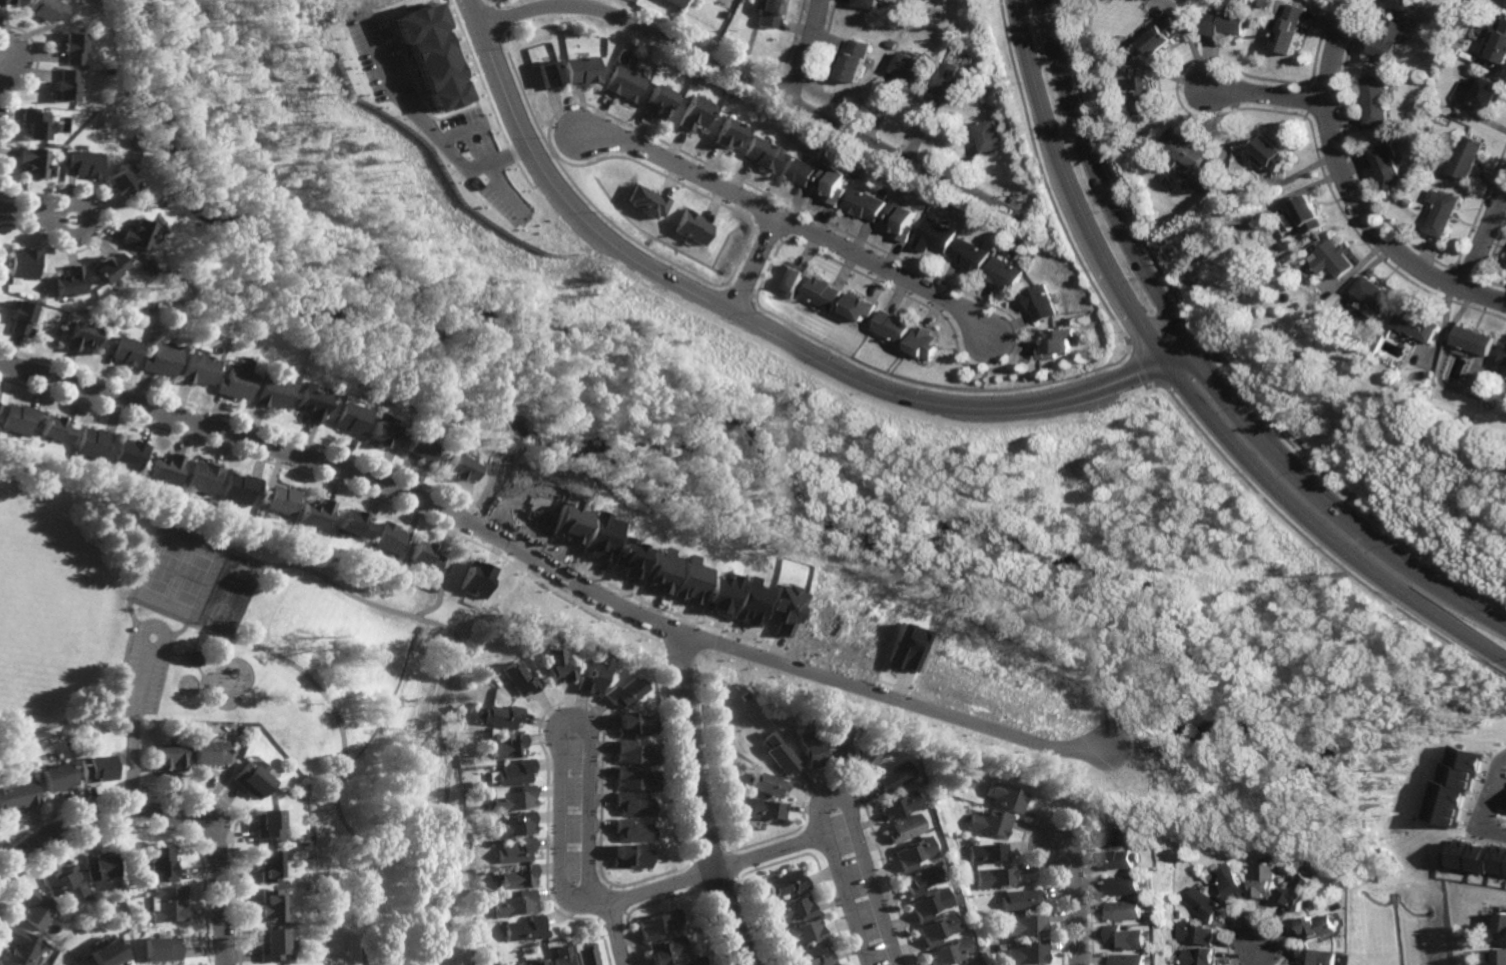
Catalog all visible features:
building: (16, 1)
building: (676, 2)
building: (867, 2)
building: (1505, 2)
building: (1398, 3)
building: (47, 9)
building: (723, 12)
building: (765, 12)
building: (911, 12)
building: (1225, 21)
road: (638, 27)
building: (1291, 27)
building: (88, 31)
building: (1161, 34)
building: (1386, 38)
building: (1499, 43)
building: (892, 44)
building: (70, 46)
building: (1455, 48)
road: (807, 51)
building: (430, 56)
building: (854, 59)
road: (3, 65)
building: (910, 65)
building: (583, 68)
building: (106, 70)
building: (549, 72)
building: (624, 81)
building: (950, 81)
building: (64, 84)
building: (1486, 91)
building: (1144, 94)
road: (1265, 95)
building: (659, 98)
building: (1374, 101)
building: (695, 111)
building: (36, 122)
road: (421, 128)
building: (726, 132)
building: (990, 134)
building: (1184, 148)
building: (761, 152)
building: (1270, 152)
building: (1466, 156)
road: (905, 159)
building: (34, 161)
building: (83, 162)
building: (1386, 164)
building: (797, 170)
road: (187, 177)
building: (832, 183)
building: (119, 184)
road: (1349, 191)
building: (645, 203)
building: (865, 204)
building: (1441, 211)
building: (1310, 212)
road: (27, 214)
road: (55, 217)
building: (902, 220)
road: (791, 221)
building: (1272, 222)
building: (689, 227)
building: (137, 234)
building: (936, 235)
road: (1485, 239)
building: (1164, 241)
building: (1211, 246)
building: (971, 255)
building: (1335, 258)
building: (25, 263)
road: (754, 264)
building: (109, 266)
building: (149, 269)
building: (1005, 273)
building: (792, 278)
building: (70, 282)
building: (823, 292)
building: (1374, 296)
building: (1041, 301)
building: (858, 306)
building: (146, 307)
building: (22, 317)
building: (1416, 324)
building: (894, 325)
road: (760, 330)
building: (81, 335)
building: (1471, 341)
building: (924, 343)
building: (1057, 343)
building: (125, 350)
building: (1293, 354)
building: (160, 360)
building: (1503, 360)
road: (1205, 363)
building: (197, 369)
building: (235, 383)
road: (1187, 383)
building: (271, 393)
building: (310, 404)
building: (0, 405)
building: (20, 419)
building: (348, 419)
building: (57, 430)
building: (382, 435)
building: (94, 443)
building: (417, 449)
building: (131, 454)
building: (168, 468)
building: (458, 468)
building: (205, 477)
building: (242, 488)
building: (283, 500)
building: (317, 513)
building: (353, 524)
building: (598, 536)
building: (386, 537)
building: (322, 551)
building: (423, 556)
building: (626, 557)
road: (551, 568)
building: (657, 570)
road: (138, 575)
road: (446, 575)
road: (1324, 575)
park: (178, 579)
building: (476, 580)
building: (687, 581)
building: (717, 593)
building: (747, 602)
road: (386, 609)
building: (781, 609)
road: (160, 611)
road: (166, 632)
building: (903, 648)
building: (554, 665)
building: (589, 674)
building: (517, 675)
building: (496, 679)
park: (256, 688)
building: (620, 690)
building: (740, 693)
building: (794, 708)
building: (497, 714)
road: (561, 721)
building: (629, 722)
road: (66, 723)
building: (206, 724)
road: (133, 730)
road: (344, 741)
building: (837, 741)
building: (504, 744)
building: (807, 745)
building: (205, 749)
building: (632, 751)
building: (867, 752)
building: (777, 753)
building: (166, 756)
building: (92, 767)
building: (514, 770)
building: (53, 775)
building: (891, 775)
building: (249, 777)
building: (632, 778)
building: (724, 783)
building: (764, 783)
building: (1456, 788)
building: (16, 794)
road: (833, 794)
building: (1005, 796)
building: (513, 798)
road: (696, 803)
building: (631, 804)
building: (899, 804)
road: (1487, 805)
building: (762, 808)
road: (163, 813)
building: (991, 822)
building: (513, 824)
building: (264, 825)
building: (904, 827)
building: (631, 830)
building: (1117, 836)
building: (1152, 841)
road: (9, 850)
building: (514, 850)
building: (312, 852)
building: (914, 852)
road: (770, 853)
building: (987, 853)
building: (629, 856)
building: (1480, 857)
building: (1120, 859)
building: (101, 864)
building: (160, 864)
building: (265, 866)
building: (1140, 875)
building: (516, 876)
building: (995, 877)
building: (921, 879)
building: (1270, 882)
building: (67, 883)
building: (788, 883)
building: (1235, 885)
building: (1122, 886)
road: (660, 888)
building: (1303, 892)
building: (1020, 899)
road: (1076, 901)
building: (930, 903)
building: (168, 904)
building: (514, 904)
building: (267, 905)
building: (1207, 905)
building: (794, 909)
building: (38, 910)
building: (1125, 910)
building: (1177, 913)
building: (1152, 916)
building: (1501, 921)
building: (659, 923)
road: (615, 924)
building: (1027, 925)
building: (1321, 927)
building: (938, 928)
building: (525, 929)
building: (803, 932)
building: (1197, 933)
building: (1125, 937)
building: (272, 944)
building: (24, 947)
building: (158, 948)
building: (666, 949)
building: (696, 949)
building: (948, 952)
building: (107, 953)
building: (1029, 953)
building: (589, 954)
building: (564, 955)
building: (814, 956)
road: (1260, 956)
building: (1201, 957)
building: (1320, 957)
building: (1500, 957)
building: (1128, 960)
building: (693, 961)
building: (537, 962)
building: (2, 963)
building: (515, 964)

